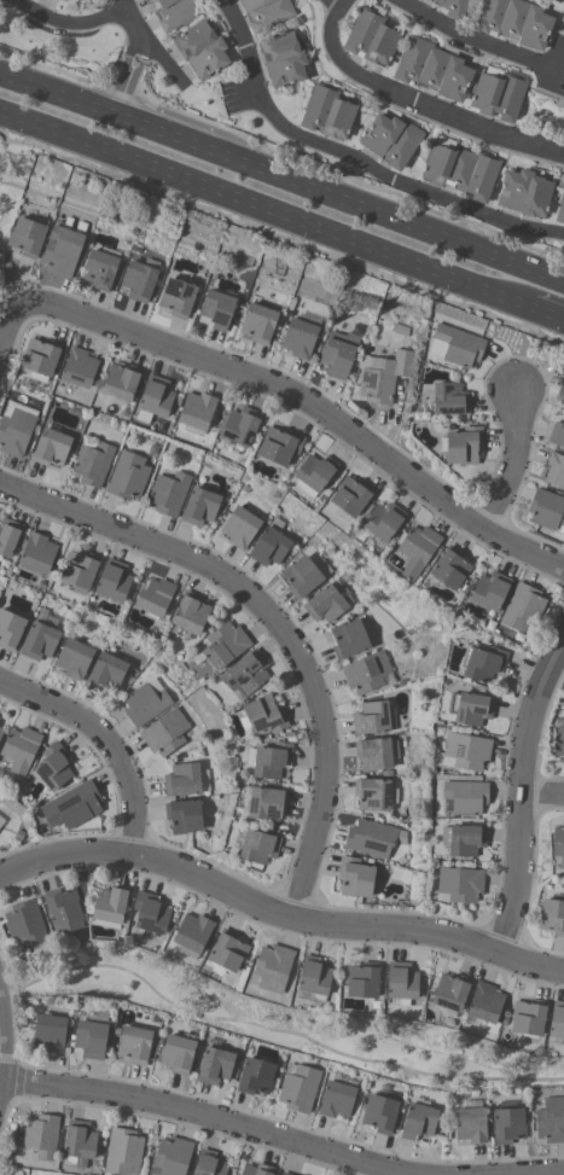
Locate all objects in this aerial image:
building: (65, 0)
road: (332, 5)
road: (342, 5)
building: (453, 7)
building: (171, 12)
building: (264, 12)
building: (514, 21)
road: (68, 24)
building: (371, 39)
road: (476, 41)
road: (151, 45)
building: (202, 50)
building: (281, 59)
building: (434, 69)
road: (129, 74)
road: (58, 92)
building: (496, 97)
road: (423, 105)
building: (326, 112)
road: (164, 132)
building: (390, 140)
road: (355, 161)
building: (460, 170)
building: (524, 193)
park: (11, 199)
road: (266, 209)
building: (560, 209)
road: (388, 215)
building: (25, 237)
building: (60, 250)
building: (99, 269)
building: (138, 279)
road: (1, 281)
building: (176, 297)
building: (215, 309)
road: (548, 314)
building: (258, 322)
road: (8, 330)
building: (297, 338)
building: (454, 347)
building: (337, 354)
building: (39, 360)
building: (79, 367)
building: (380, 376)
building: (120, 383)
building: (560, 395)
building: (153, 399)
building: (449, 399)
road: (309, 403)
building: (196, 411)
building: (239, 426)
building: (14, 427)
building: (557, 435)
building: (278, 446)
building: (463, 446)
building: (92, 463)
road: (516, 463)
building: (554, 471)
building: (313, 472)
building: (127, 476)
building: (168, 493)
building: (349, 496)
building: (199, 506)
building: (546, 510)
building: (383, 520)
building: (239, 527)
building: (7, 536)
building: (269, 546)
building: (415, 549)
building: (37, 553)
building: (449, 569)
building: (77, 570)
building: (301, 576)
building: (112, 581)
building: (490, 591)
building: (156, 598)
building: (327, 603)
building: (523, 607)
building: (191, 615)
road: (275, 622)
building: (10, 629)
building: (349, 639)
building: (40, 641)
building: (226, 645)
building: (75, 658)
building: (483, 663)
building: (248, 671)
building: (106, 673)
building: (368, 673)
building: (146, 703)
building: (471, 708)
building: (266, 715)
building: (374, 717)
building: (1, 732)
building: (165, 733)
road: (107, 740)
building: (559, 741)
building: (21, 749)
building: (466, 751)
building: (374, 754)
building: (272, 760)
building: (54, 767)
building: (182, 780)
building: (373, 793)
road: (522, 796)
road: (543, 796)
building: (465, 797)
building: (266, 803)
building: (74, 805)
building: (185, 816)
building: (1, 820)
building: (374, 838)
building: (464, 839)
building: (559, 843)
building: (258, 847)
building: (355, 877)
building: (460, 884)
building: (111, 908)
building: (64, 909)
road: (277, 913)
building: (151, 914)
building: (552, 917)
building: (27, 926)
building: (193, 935)
building: (228, 950)
building: (273, 967)
building: (364, 979)
building: (314, 981)
building: (402, 982)
building: (452, 991)
building: (485, 1007)
building: (529, 1017)
building: (557, 1020)
building: (51, 1033)
road: (275, 1033)
building: (92, 1040)
building: (135, 1045)
building: (179, 1053)
road: (1, 1054)
building: (216, 1065)
building: (256, 1076)
building: (300, 1087)
building: (337, 1100)
building: (380, 1113)
road: (208, 1115)
building: (419, 1121)
building: (551, 1121)
building: (508, 1123)
building: (471, 1124)
building: (42, 1136)
building: (80, 1144)
building: (123, 1151)
building: (173, 1156)
building: (210, 1164)
building: (258, 1170)
building: (286, 1174)
road: (558, 1174)

